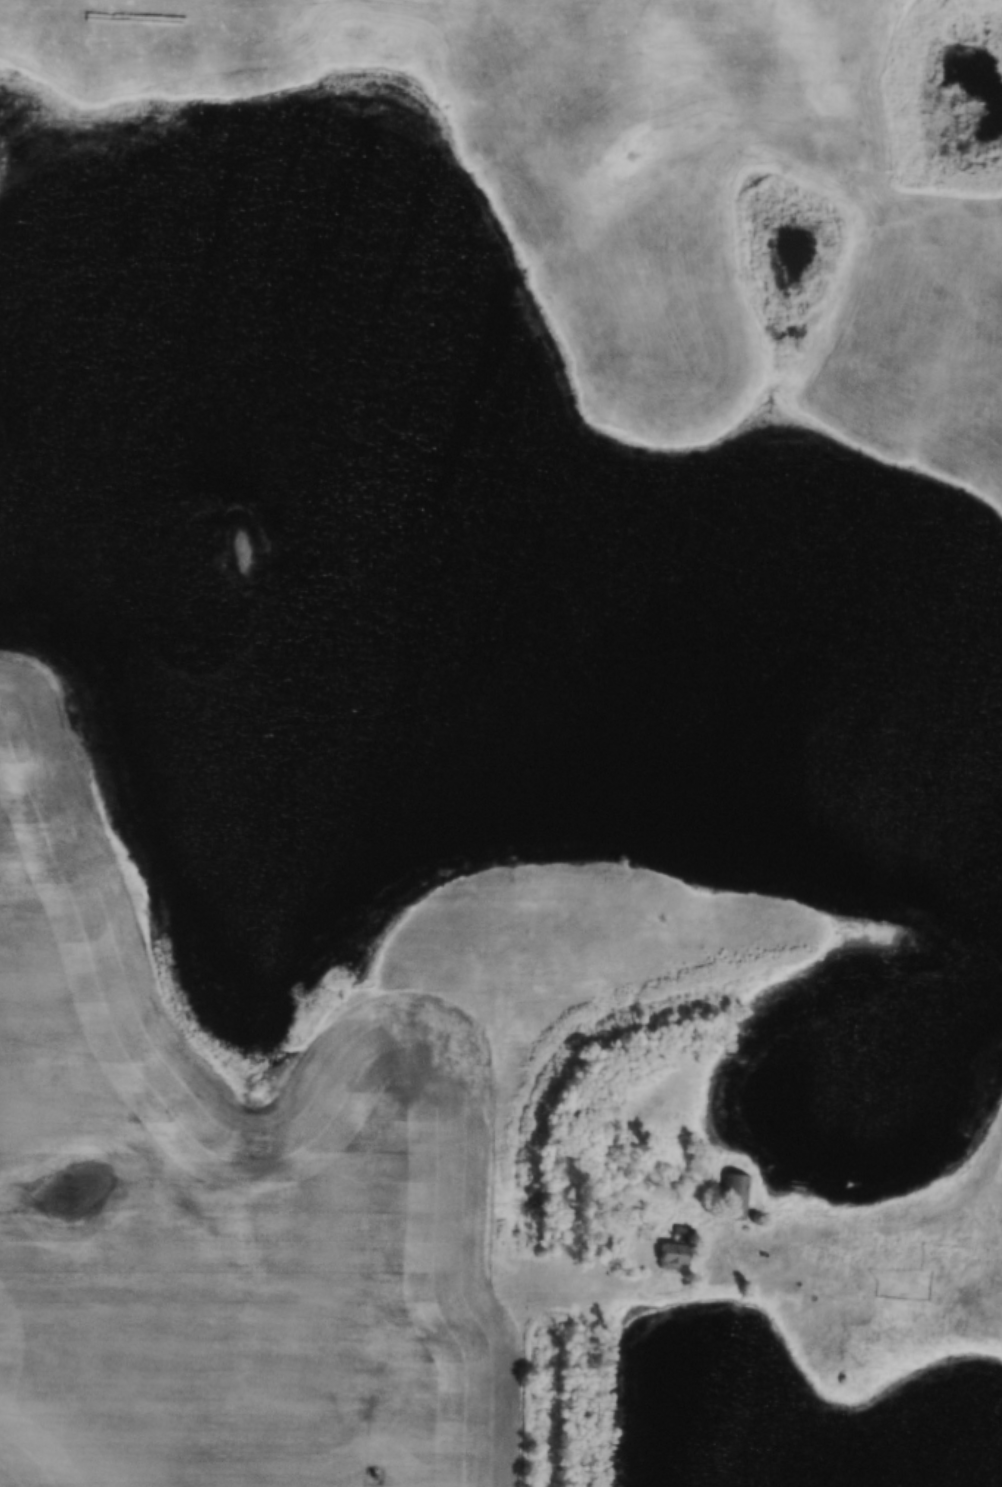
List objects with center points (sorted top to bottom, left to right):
building: (731, 1197)
building: (752, 1218)
silo: (752, 1218)
building: (675, 1249)
road: (525, 1295)

